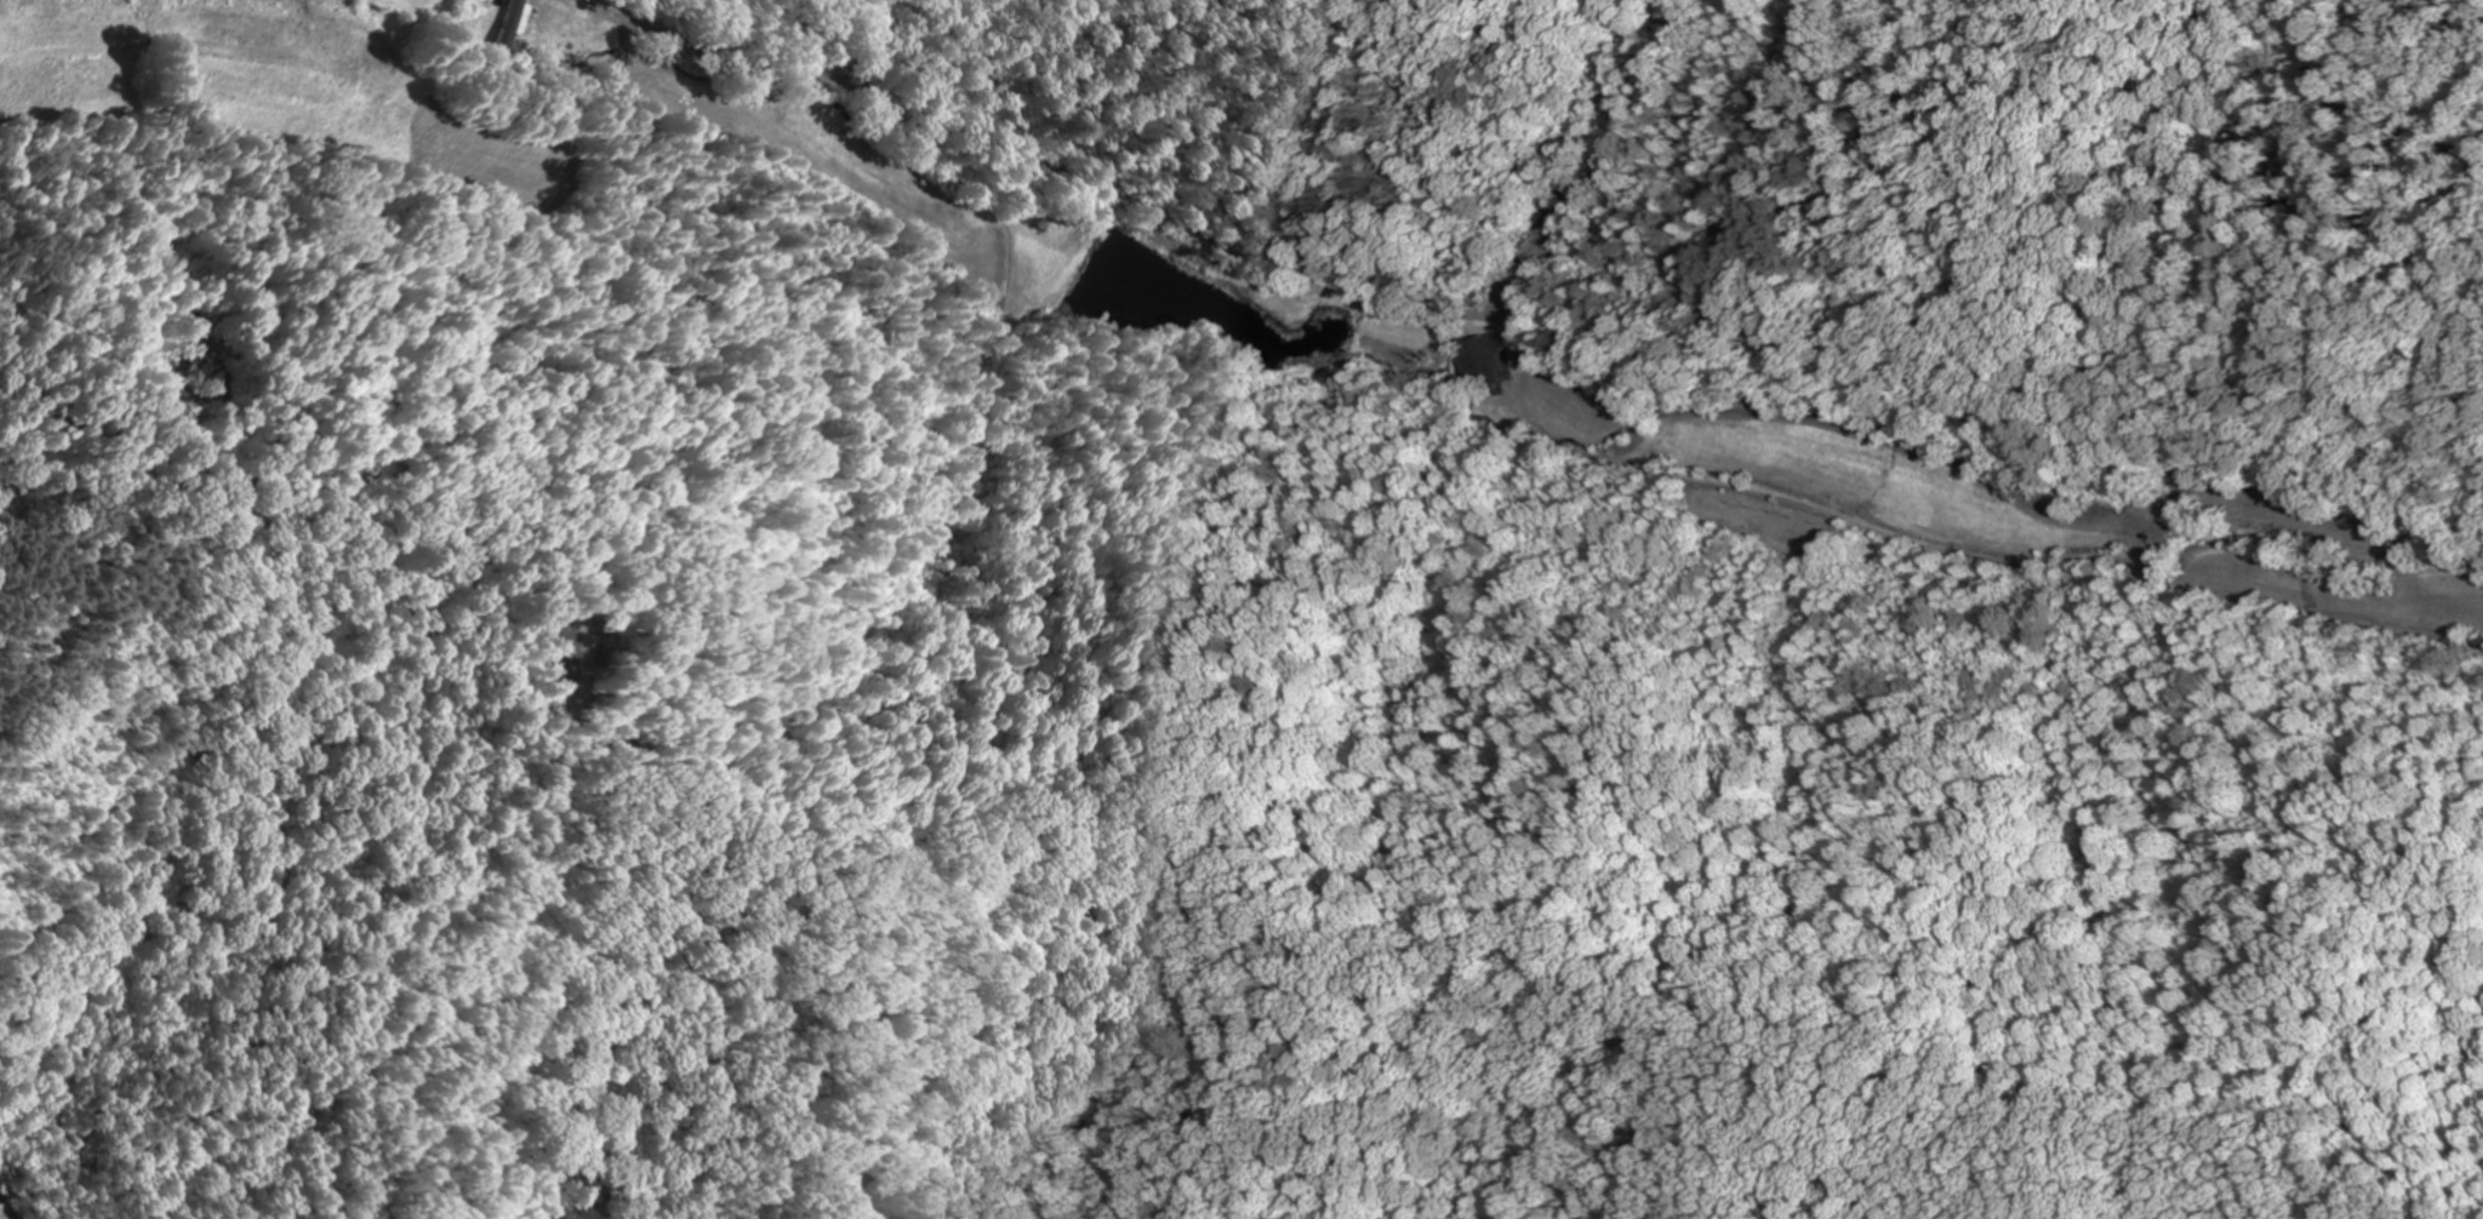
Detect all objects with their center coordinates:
building: (512, 23)
building: (1490, 361)

